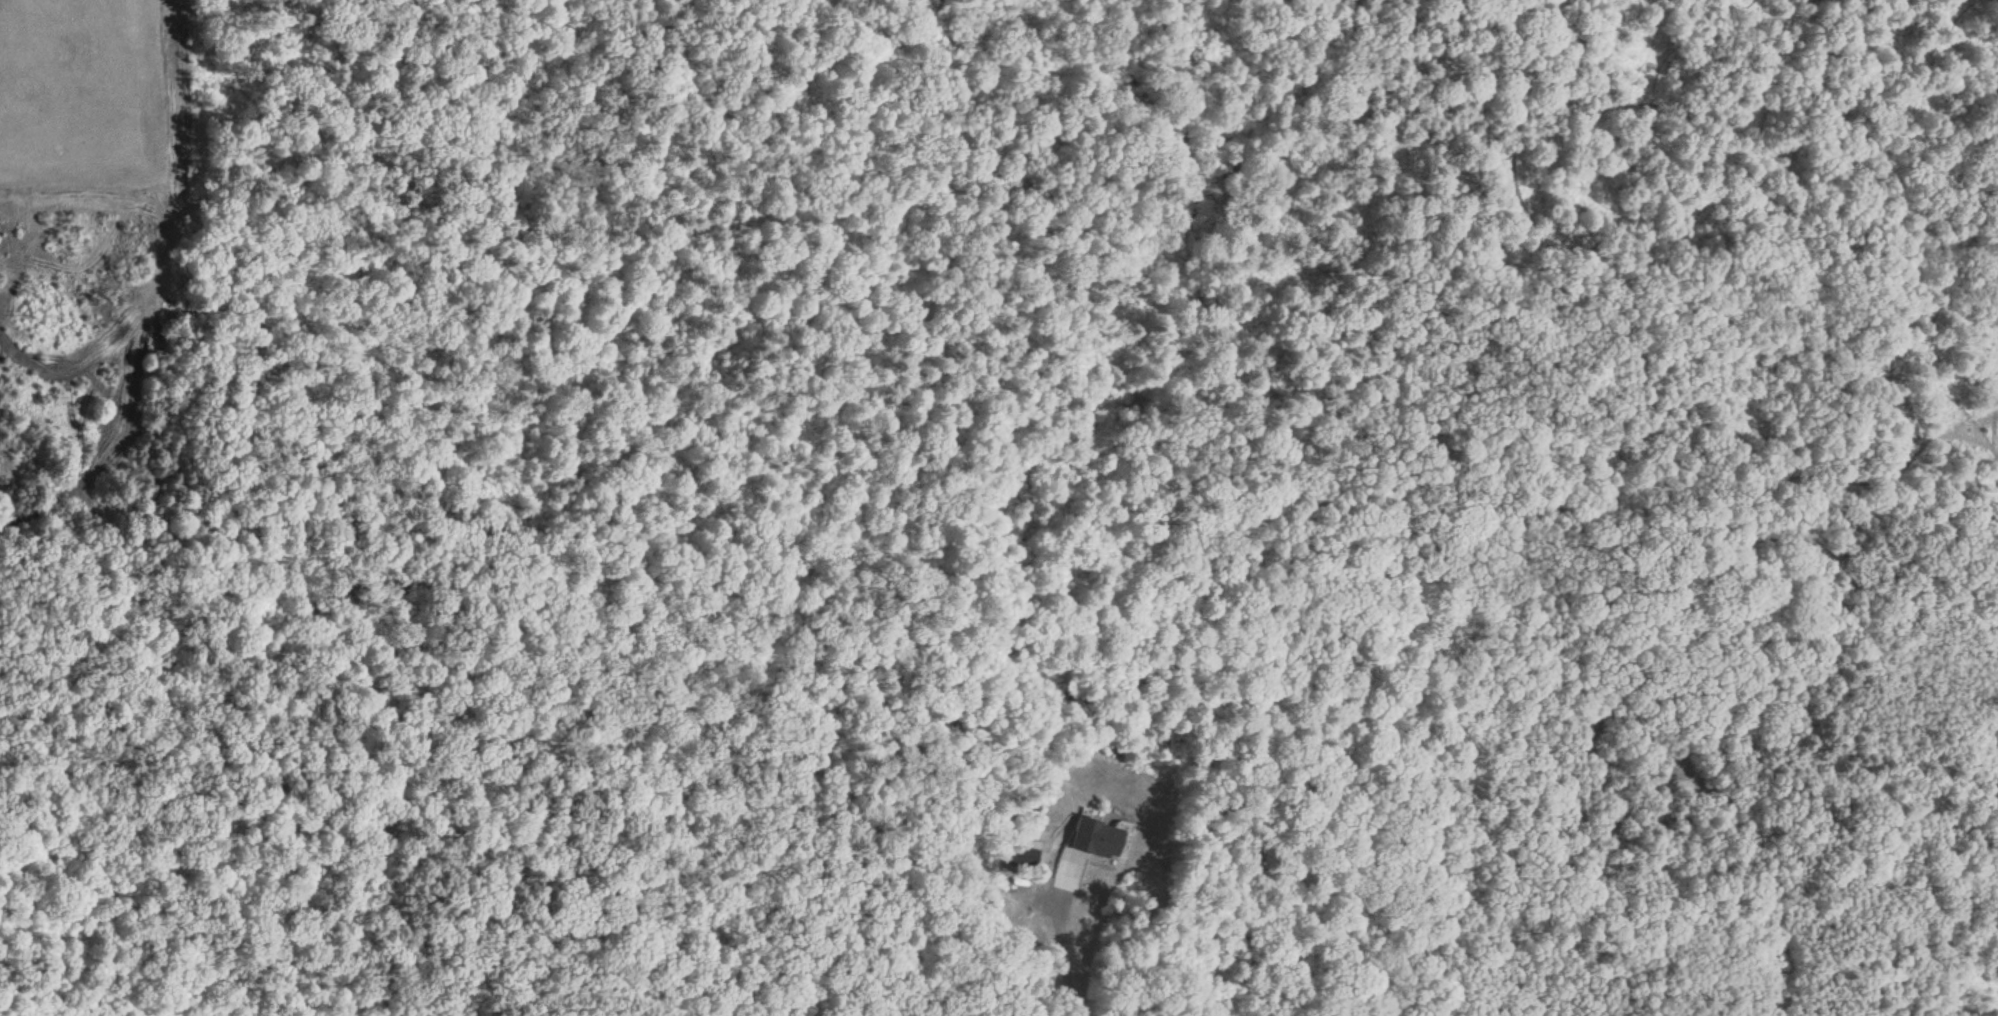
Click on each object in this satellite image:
building: (1093, 837)
road: (1064, 969)

